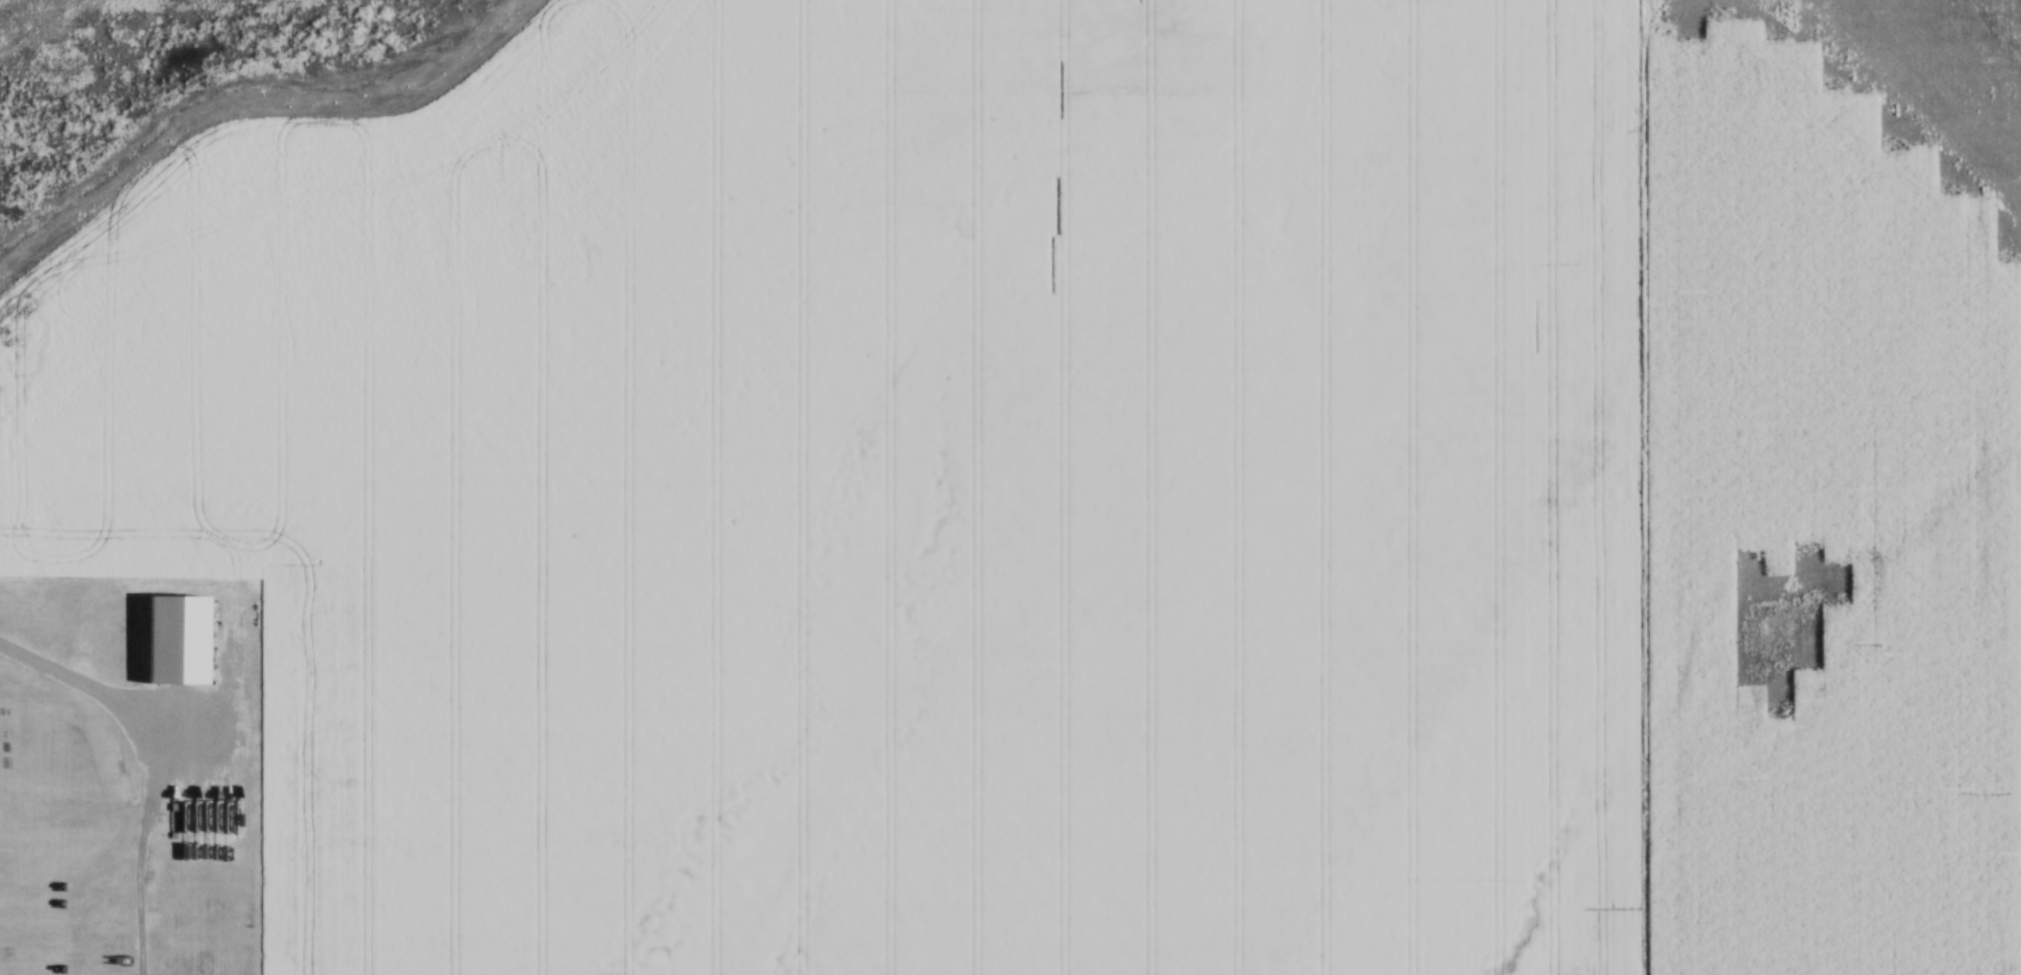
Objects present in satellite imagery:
building: (165, 620)

